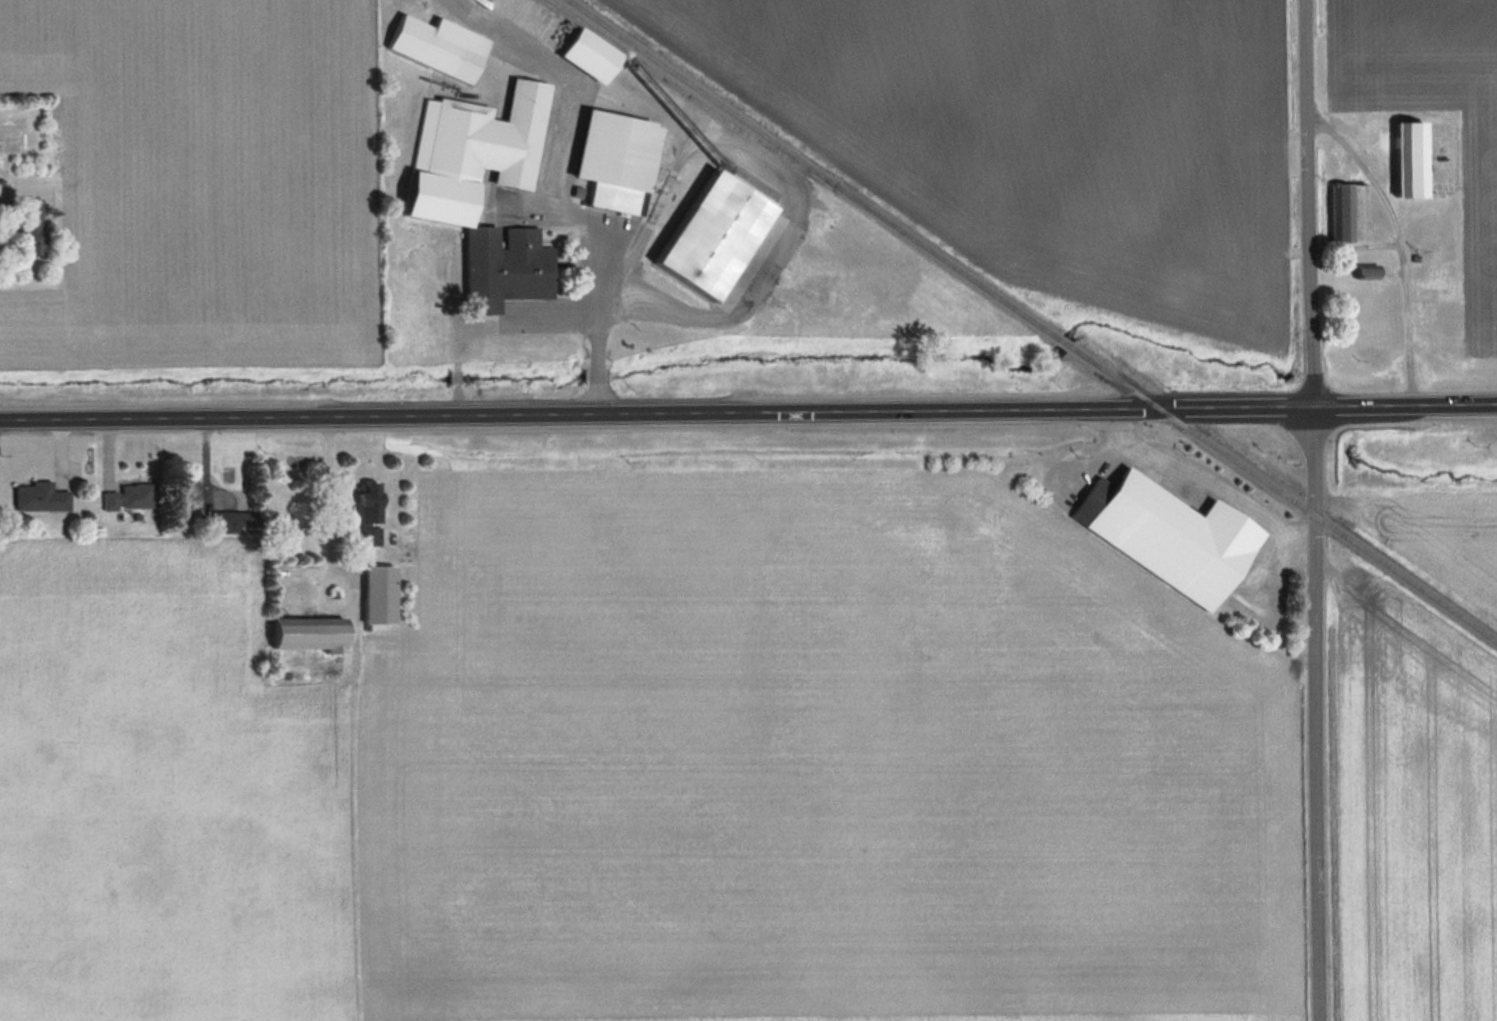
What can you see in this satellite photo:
building: (437, 48)
building: (592, 55)
building: (484, 137)
building: (620, 160)
building: (1414, 160)
building: (1343, 212)
building: (1490, 229)
building: (718, 235)
building: (33, 236)
building: (506, 265)
building: (1370, 271)
railway: (1032, 320)
building: (1451, 322)
road: (597, 323)
road: (748, 413)
building: (39, 496)
building: (128, 496)
road: (332, 499)
road: (1315, 510)
building: (371, 513)
building: (233, 520)
building: (1172, 536)
road: (326, 582)
building: (381, 593)
building: (314, 635)

